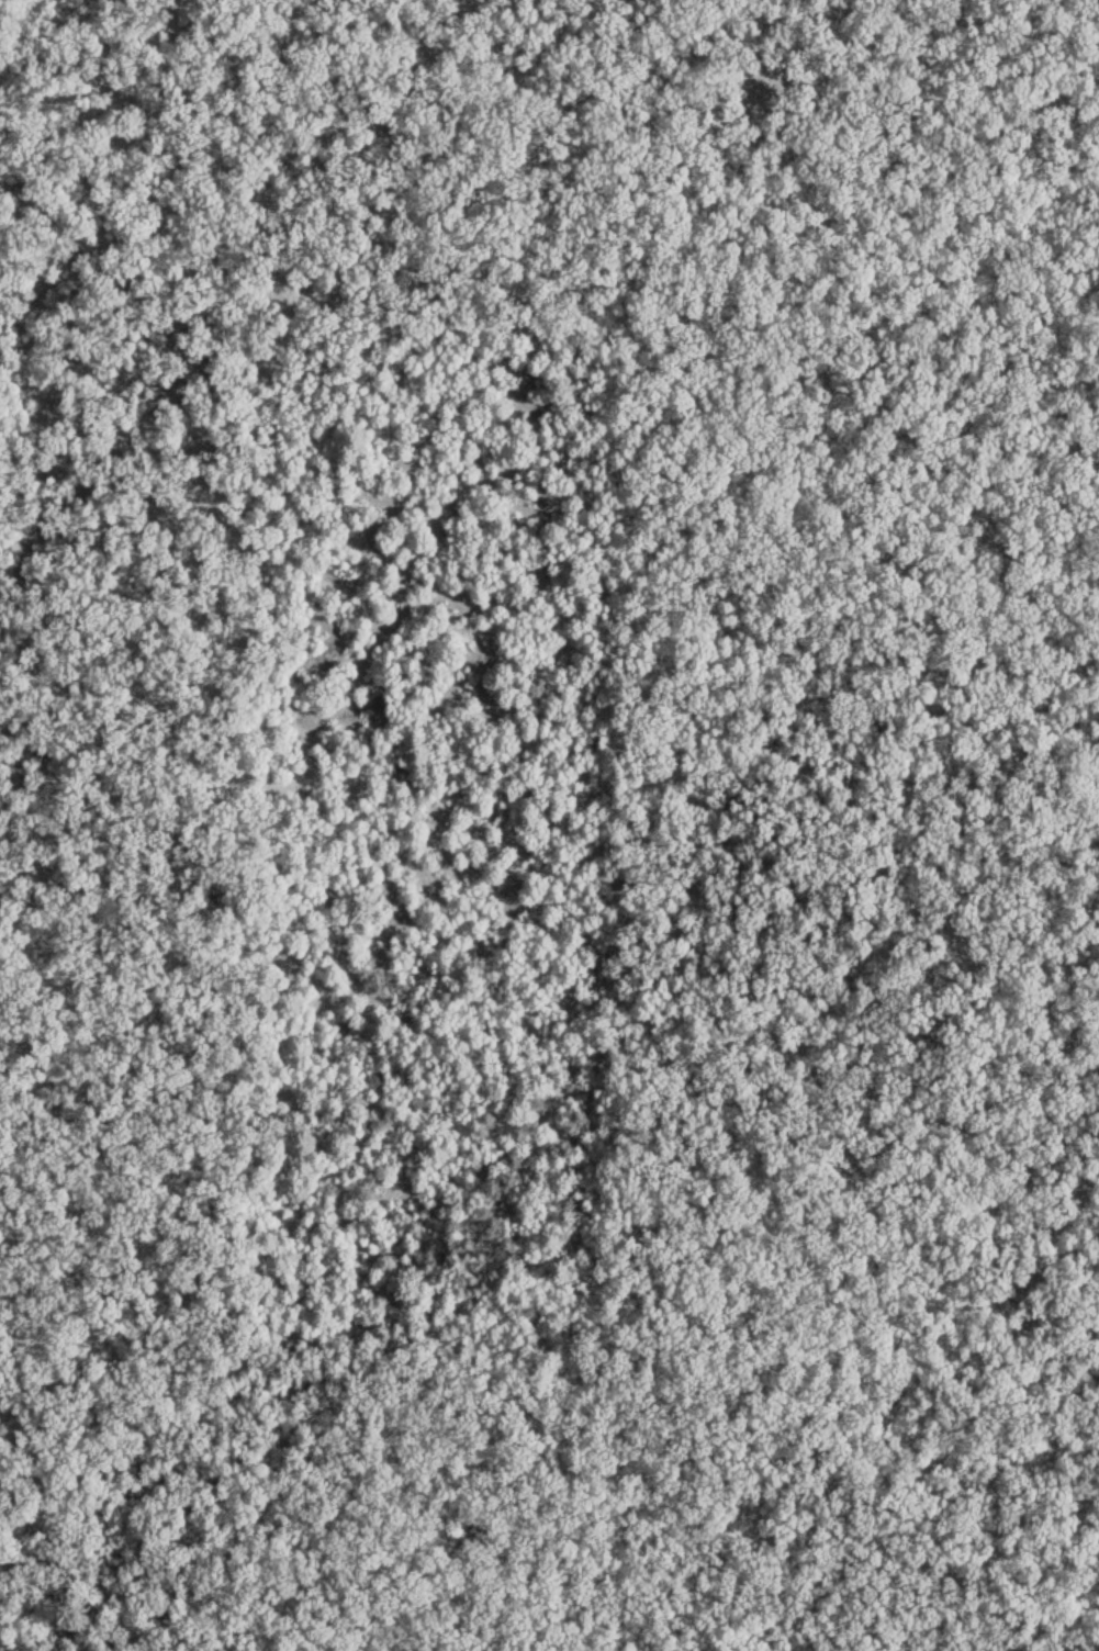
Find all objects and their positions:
road: (251, 1)

